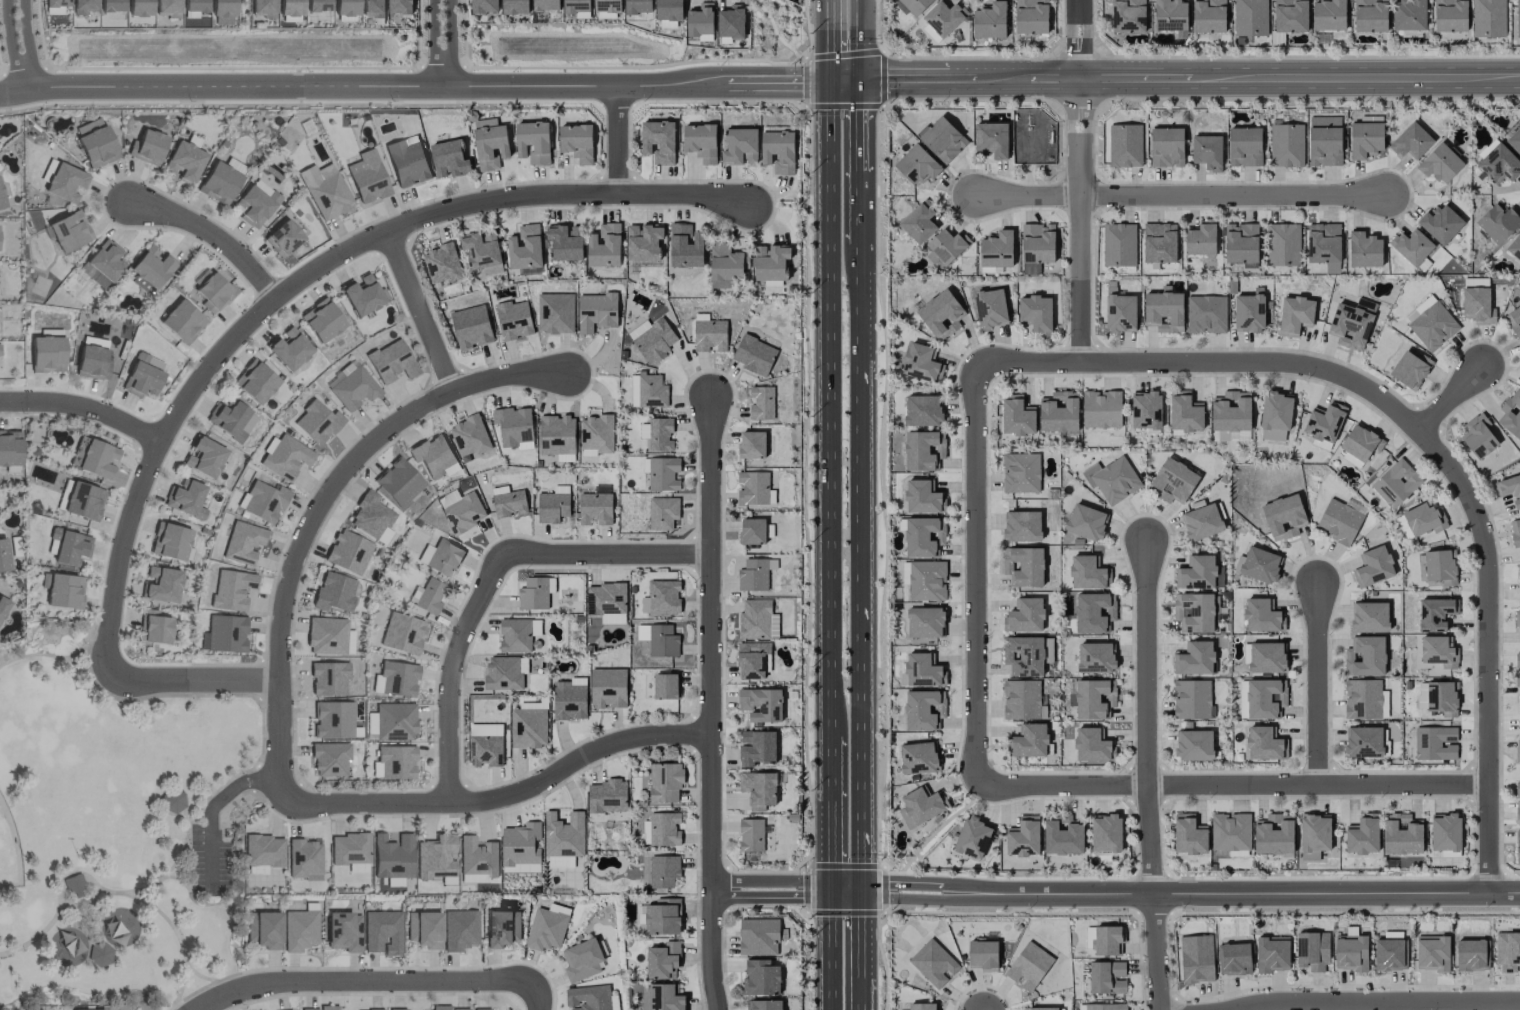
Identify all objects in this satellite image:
building: (111, 5)
building: (317, 5)
building: (546, 5)
building: (607, 5)
building: (915, 5)
building: (54, 6)
building: (83, 6)
building: (400, 6)
building: (484, 6)
building: (515, 6)
building: (638, 6)
building: (289, 7)
building: (344, 7)
building: (138, 8)
building: (166, 8)
building: (193, 8)
building: (222, 8)
building: (262, 8)
building: (372, 8)
building: (577, 8)
building: (669, 9)
building: (1170, 15)
building: (1290, 15)
building: (1329, 15)
building: (1370, 15)
building: (1408, 15)
building: (1450, 15)
building: (1031, 16)
building: (1128, 16)
building: (1208, 16)
building: (1250, 17)
building: (1488, 18)
building: (1517, 18)
building: (942, 19)
building: (700, 20)
building: (990, 20)
building: (731, 22)
road: (1079, 41)
road: (431, 42)
road: (828, 42)
road: (862, 42)
road: (453, 44)
road: (26, 45)
road: (11, 47)
road: (1300, 81)
road: (953, 83)
road: (413, 85)
traffic signals: (862, 85)
traffic signals: (827, 86)
road: (862, 127)
building: (1366, 137)
building: (942, 139)
building: (992, 139)
building: (1514, 139)
building: (533, 141)
building: (658, 141)
building: (1411, 141)
building: (94, 142)
building: (490, 142)
building: (576, 142)
road: (618, 142)
building: (700, 142)
building: (1124, 145)
building: (1286, 145)
building: (739, 146)
building: (1244, 146)
building: (147, 147)
building: (1166, 147)
building: (778, 150)
building: (1207, 152)
building: (449, 158)
building: (183, 161)
building: (1440, 163)
building: (1499, 163)
building: (408, 164)
building: (917, 164)
building: (366, 177)
building: (65, 183)
building: (218, 183)
building: (328, 196)
road: (1179, 196)
building: (1, 201)
building: (255, 203)
road: (863, 210)
building: (1498, 222)
building: (918, 223)
road: (1080, 223)
building: (1441, 223)
building: (68, 231)
road: (211, 236)
building: (281, 238)
building: (1201, 238)
building: (644, 241)
building: (564, 242)
building: (1159, 242)
building: (1241, 242)
building: (1323, 242)
building: (1119, 244)
building: (1283, 244)
building: (685, 245)
building: (604, 246)
building: (1036, 246)
building: (1411, 246)
building: (1514, 247)
building: (525, 248)
building: (997, 249)
building: (1364, 250)
building: (771, 262)
building: (102, 264)
building: (442, 264)
building: (724, 265)
building: (149, 268)
road: (303, 280)
building: (212, 292)
building: (360, 295)
building: (1424, 304)
building: (1477, 305)
building: (990, 307)
building: (1164, 310)
building: (596, 311)
building: (1249, 311)
road: (420, 312)
building: (1036, 312)
building: (555, 313)
building: (1121, 313)
building: (941, 314)
building: (1207, 314)
building: (1295, 315)
building: (513, 319)
building: (321, 320)
building: (1514, 320)
building: (181, 321)
building: (1352, 323)
building: (471, 326)
building: (1433, 326)
building: (710, 335)
building: (655, 340)
building: (288, 349)
building: (47, 354)
building: (754, 355)
building: (390, 361)
building: (919, 362)
building: (91, 363)
building: (1410, 369)
building: (142, 375)
building: (254, 381)
building: (352, 387)
building: (651, 390)
road: (1449, 401)
building: (761, 402)
road: (82, 408)
building: (1101, 409)
building: (1146, 409)
building: (922, 410)
building: (1059, 411)
building: (1231, 411)
building: (1276, 411)
building: (1185, 412)
building: (1511, 414)
building: (1017, 417)
building: (230, 420)
road: (826, 421)
building: (1325, 421)
building: (316, 422)
building: (513, 425)
building: (596, 433)
building: (658, 433)
building: (469, 435)
building: (557, 435)
building: (1229, 435)
building: (1478, 436)
road: (1424, 441)
building: (1360, 442)
building: (752, 444)
building: (9, 448)
building: (924, 450)
building: (203, 456)
building: (283, 457)
building: (434, 457)
building: (97, 459)
building: (1021, 472)
building: (662, 473)
building: (1112, 479)
building: (1173, 481)
building: (397, 482)
building: (1396, 483)
building: (754, 488)
building: (1510, 488)
building: (922, 497)
building: (79, 499)
building: (185, 499)
building: (262, 501)
building: (509, 503)
building: (552, 507)
building: (595, 508)
building: (461, 510)
road: (318, 512)
building: (663, 512)
building: (371, 517)
building: (1284, 517)
building: (1424, 519)
building: (1338, 521)
building: (1086, 522)
building: (1202, 522)
building: (1022, 526)
building: (752, 531)
building: (1515, 532)
building: (922, 537)
building: (169, 541)
building: (242, 542)
building: (67, 546)
building: (347, 552)
building: (3, 556)
building: (443, 557)
building: (1260, 564)
building: (1023, 566)
building: (1374, 566)
building: (1440, 566)
building: (1086, 572)
road: (864, 573)
building: (1198, 573)
building: (754, 574)
road: (976, 576)
road: (492, 580)
building: (927, 580)
building: (1519, 582)
building: (160, 584)
building: (230, 589)
building: (62, 590)
building: (333, 592)
building: (535, 593)
building: (430, 596)
building: (661, 597)
building: (605, 598)
building: (2, 605)
building: (1194, 612)
building: (1024, 615)
building: (1261, 616)
building: (1369, 617)
building: (1517, 618)
building: (757, 620)
building: (925, 622)
building: (153, 627)
building: (401, 633)
building: (225, 634)
building: (518, 634)
building: (328, 636)
building: (663, 641)
building: (1436, 653)
building: (1024, 656)
building: (1365, 656)
building: (1266, 657)
building: (1095, 658)
building: (1194, 658)
building: (1517, 659)
building: (753, 660)
building: (922, 670)
building: (505, 672)
building: (327, 678)
building: (1517, 678)
building: (395, 679)
road: (192, 681)
road: (1318, 685)
building: (665, 686)
building: (608, 687)
building: (1437, 697)
building: (1094, 698)
building: (1265, 698)
building: (1362, 698)
building: (569, 699)
building: (1021, 699)
building: (1192, 699)
road: (712, 704)
building: (761, 704)
building: (922, 709)
building: (1519, 713)
building: (393, 720)
road: (1147, 720)
building: (528, 727)
building: (1028, 741)
building: (1363, 741)
building: (1263, 743)
building: (1435, 743)
building: (1091, 745)
building: (1193, 745)
building: (757, 747)
building: (485, 750)
building: (1517, 751)
building: (919, 758)
building: (329, 759)
building: (665, 782)
road: (1233, 786)
building: (758, 789)
building: (606, 796)
road: (503, 798)
building: (171, 801)
building: (1517, 801)
road: (211, 807)
road: (824, 827)
building: (664, 828)
building: (1445, 831)
building: (1231, 832)
park: (117, 833)
building: (1105, 833)
building: (564, 834)
building: (1274, 834)
building: (1402, 834)
building: (751, 835)
building: (1189, 835)
building: (1314, 835)
building: (1362, 835)
building: (973, 837)
building: (1023, 837)
building: (1063, 837)
building: (1517, 837)
building: (521, 848)
building: (263, 850)
building: (349, 851)
park: (9, 852)
building: (1517, 855)
building: (391, 856)
building: (435, 857)
building: (477, 857)
building: (303, 859)
parking lot: (208, 861)
road: (768, 881)
traffic signals: (824, 881)
traffic signals: (864, 881)
road: (913, 881)
building: (73, 883)
road: (1261, 895)
road: (768, 897)
traffic signals: (824, 897)
traffic signals: (864, 898)
road: (913, 898)
building: (662, 916)
building: (547, 927)
building: (264, 929)
building: (299, 929)
building: (423, 929)
building: (498, 929)
building: (460, 930)
building: (341, 931)
building: (381, 932)
building: (758, 936)
building: (1107, 939)
building: (1312, 951)
building: (1350, 951)
building: (1507, 951)
road: (824, 953)
road: (1155, 953)
building: (1272, 953)
building: (1432, 953)
building: (99, 954)
road: (864, 954)
building: (1389, 954)
building: (983, 955)
building: (1471, 955)
building: (1234, 958)
building: (1196, 959)
building: (582, 960)
building: (662, 960)
building: (933, 963)
building: (1028, 966)
building: (1106, 977)
building: (761, 978)
road: (365, 982)
road: (537, 996)
building: (661, 997)
building: (588, 998)
building: (614, 1002)
road: (1375, 1002)
building: (764, 1005)
building: (921, 1006)
building: (1105, 1006)
road: (1404, 1006)
building: (324, 1007)
building: (444, 1008)
building: (1039, 1008)
building: (84, 1009)
building: (368, 1009)
building: (396, 1009)
building: (481, 1009)

